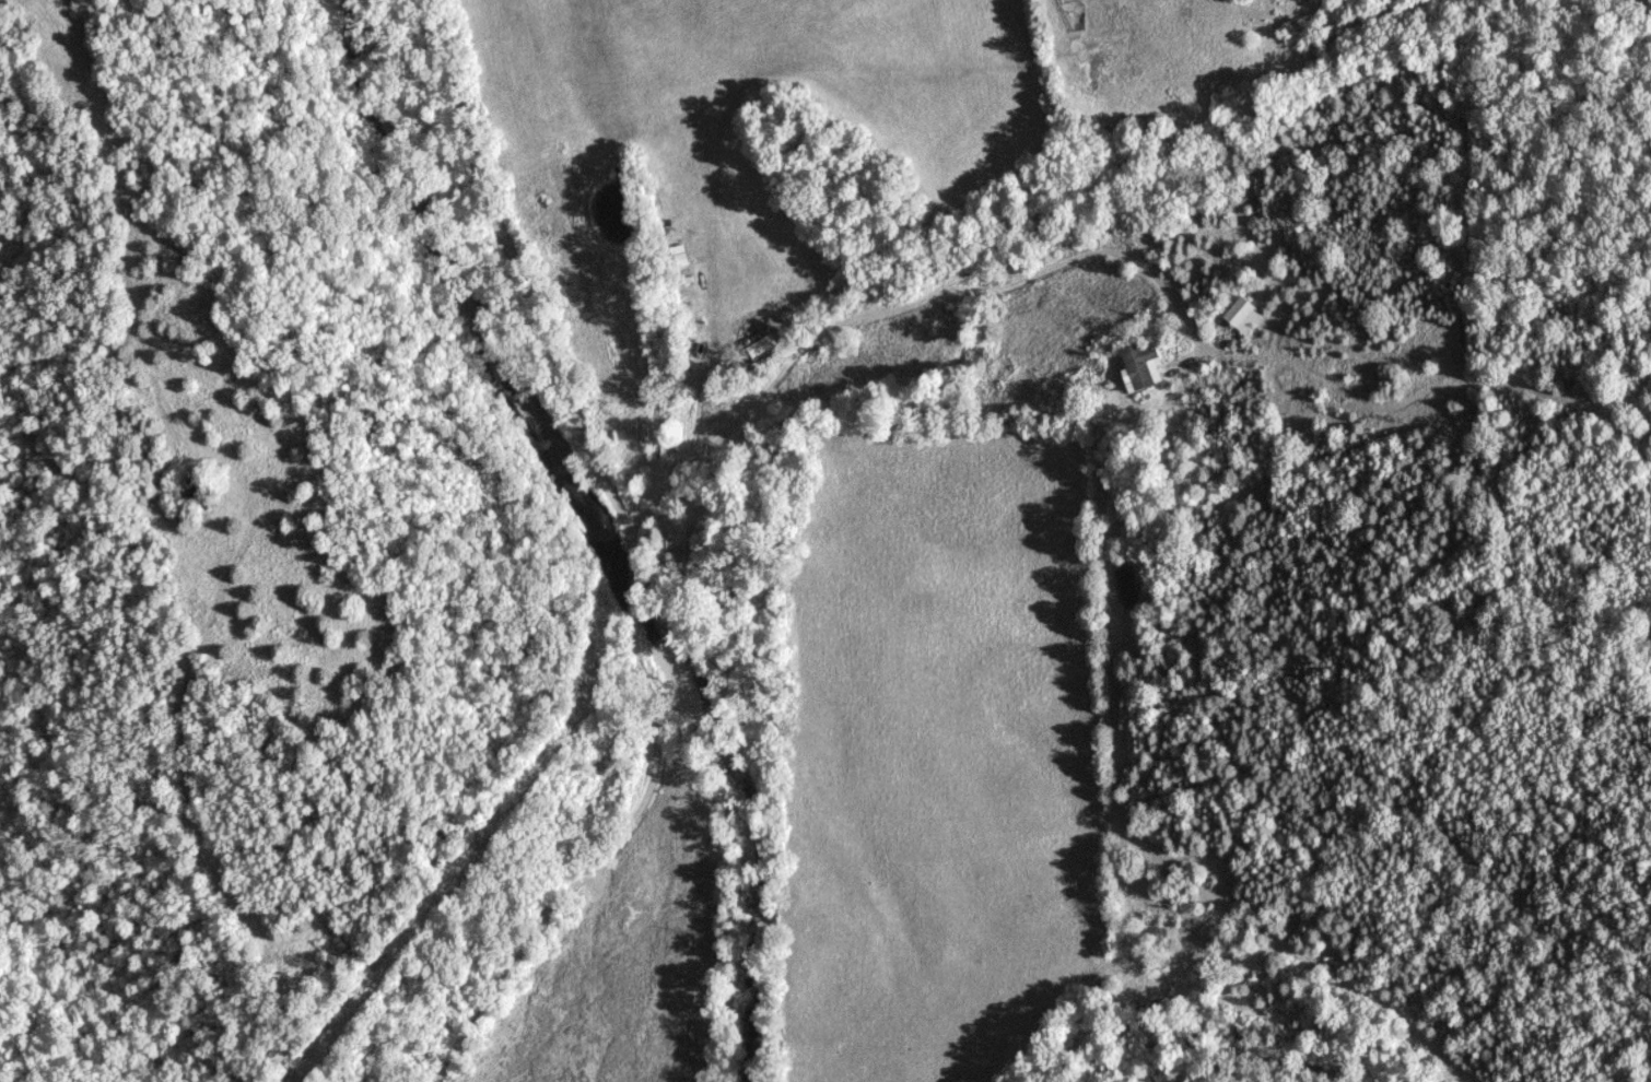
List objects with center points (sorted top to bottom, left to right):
road: (891, 309)
building: (1242, 316)
building: (1140, 366)
road: (614, 560)

